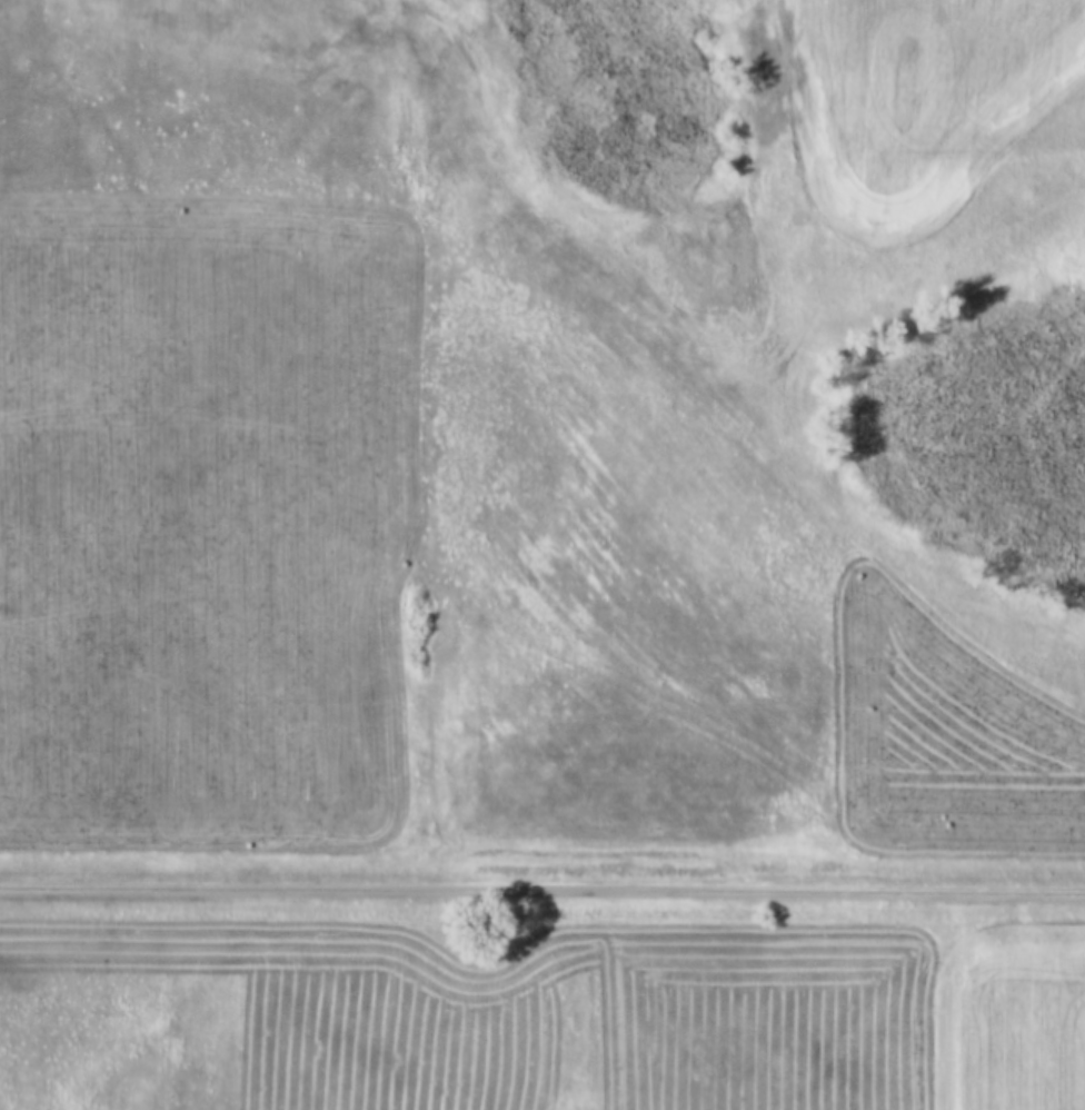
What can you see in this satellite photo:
road: (541, 884)

